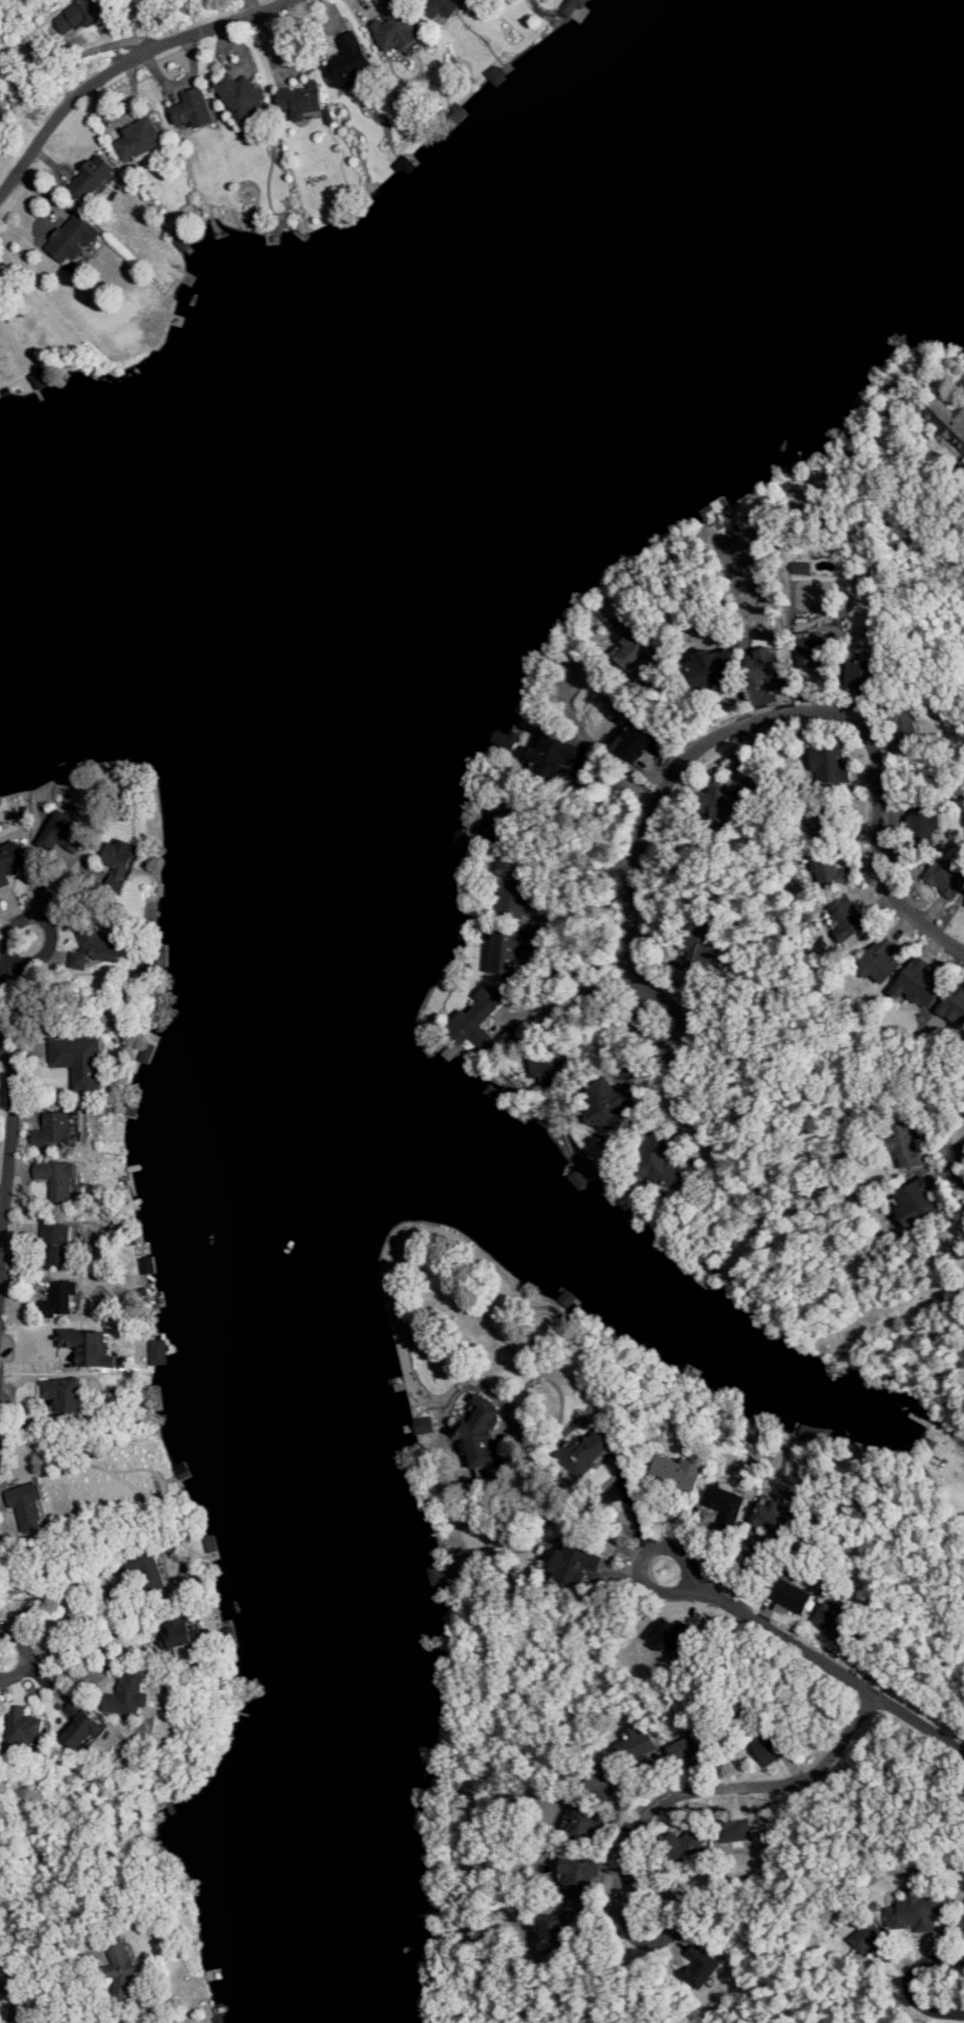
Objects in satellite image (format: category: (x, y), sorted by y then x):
building: (440, 7)
building: (573, 8)
building: (78, 15)
building: (393, 25)
building: (349, 62)
road: (122, 64)
building: (495, 74)
building: (242, 97)
building: (300, 99)
building: (193, 108)
building: (3, 111)
building: (138, 138)
building: (405, 162)
building: (91, 177)
building: (73, 237)
building: (181, 240)
building: (40, 378)
building: (948, 422)
building: (705, 514)
building: (799, 567)
building: (810, 649)
building: (636, 650)
building: (713, 668)
building: (766, 669)
building: (860, 673)
road: (783, 714)
building: (904, 724)
building: (636, 743)
building: (554, 755)
building: (830, 766)
building: (721, 805)
building: (499, 821)
building: (814, 821)
building: (922, 824)
building: (64, 831)
building: (10, 860)
building: (119, 861)
building: (828, 868)
building: (944, 878)
building: (512, 896)
building: (845, 918)
building: (699, 944)
building: (513, 949)
building: (94, 950)
road: (14, 960)
building: (878, 961)
building: (918, 982)
building: (954, 1004)
building: (482, 1023)
road: (663, 1040)
building: (80, 1059)
building: (548, 1068)
building: (607, 1107)
road: (678, 1122)
building: (52, 1129)
building: (903, 1143)
building: (661, 1163)
road: (958, 1163)
road: (9, 1171)
building: (56, 1177)
road: (4, 1193)
building: (917, 1203)
building: (57, 1241)
road: (2, 1245)
building: (60, 1299)
building: (89, 1346)
building: (156, 1351)
building: (64, 1395)
pier: (924, 1421)
building: (422, 1424)
road: (955, 1424)
building: (479, 1432)
building: (934, 1446)
building: (586, 1450)
parking lot: (956, 1456)
park: (943, 1466)
building: (677, 1471)
building: (725, 1504)
building: (27, 1505)
road: (638, 1515)
building: (771, 1515)
building: (574, 1564)
building: (146, 1567)
building: (789, 1594)
building: (835, 1621)
building: (179, 1633)
building: (669, 1634)
road: (3, 1652)
road: (817, 1658)
building: (128, 1693)
building: (82, 1724)
building: (24, 1727)
building: (635, 1744)
building: (766, 1746)
building: (684, 1752)
building: (601, 1782)
road: (725, 1787)
building: (586, 1824)
building: (736, 1831)
building: (683, 1844)
building: (580, 1874)
building: (912, 1912)
building: (962, 1921)
building: (551, 1932)
building: (867, 1938)
building: (121, 1966)
building: (699, 1966)
road: (907, 1984)
road: (17, 1999)
building: (54, 2020)

